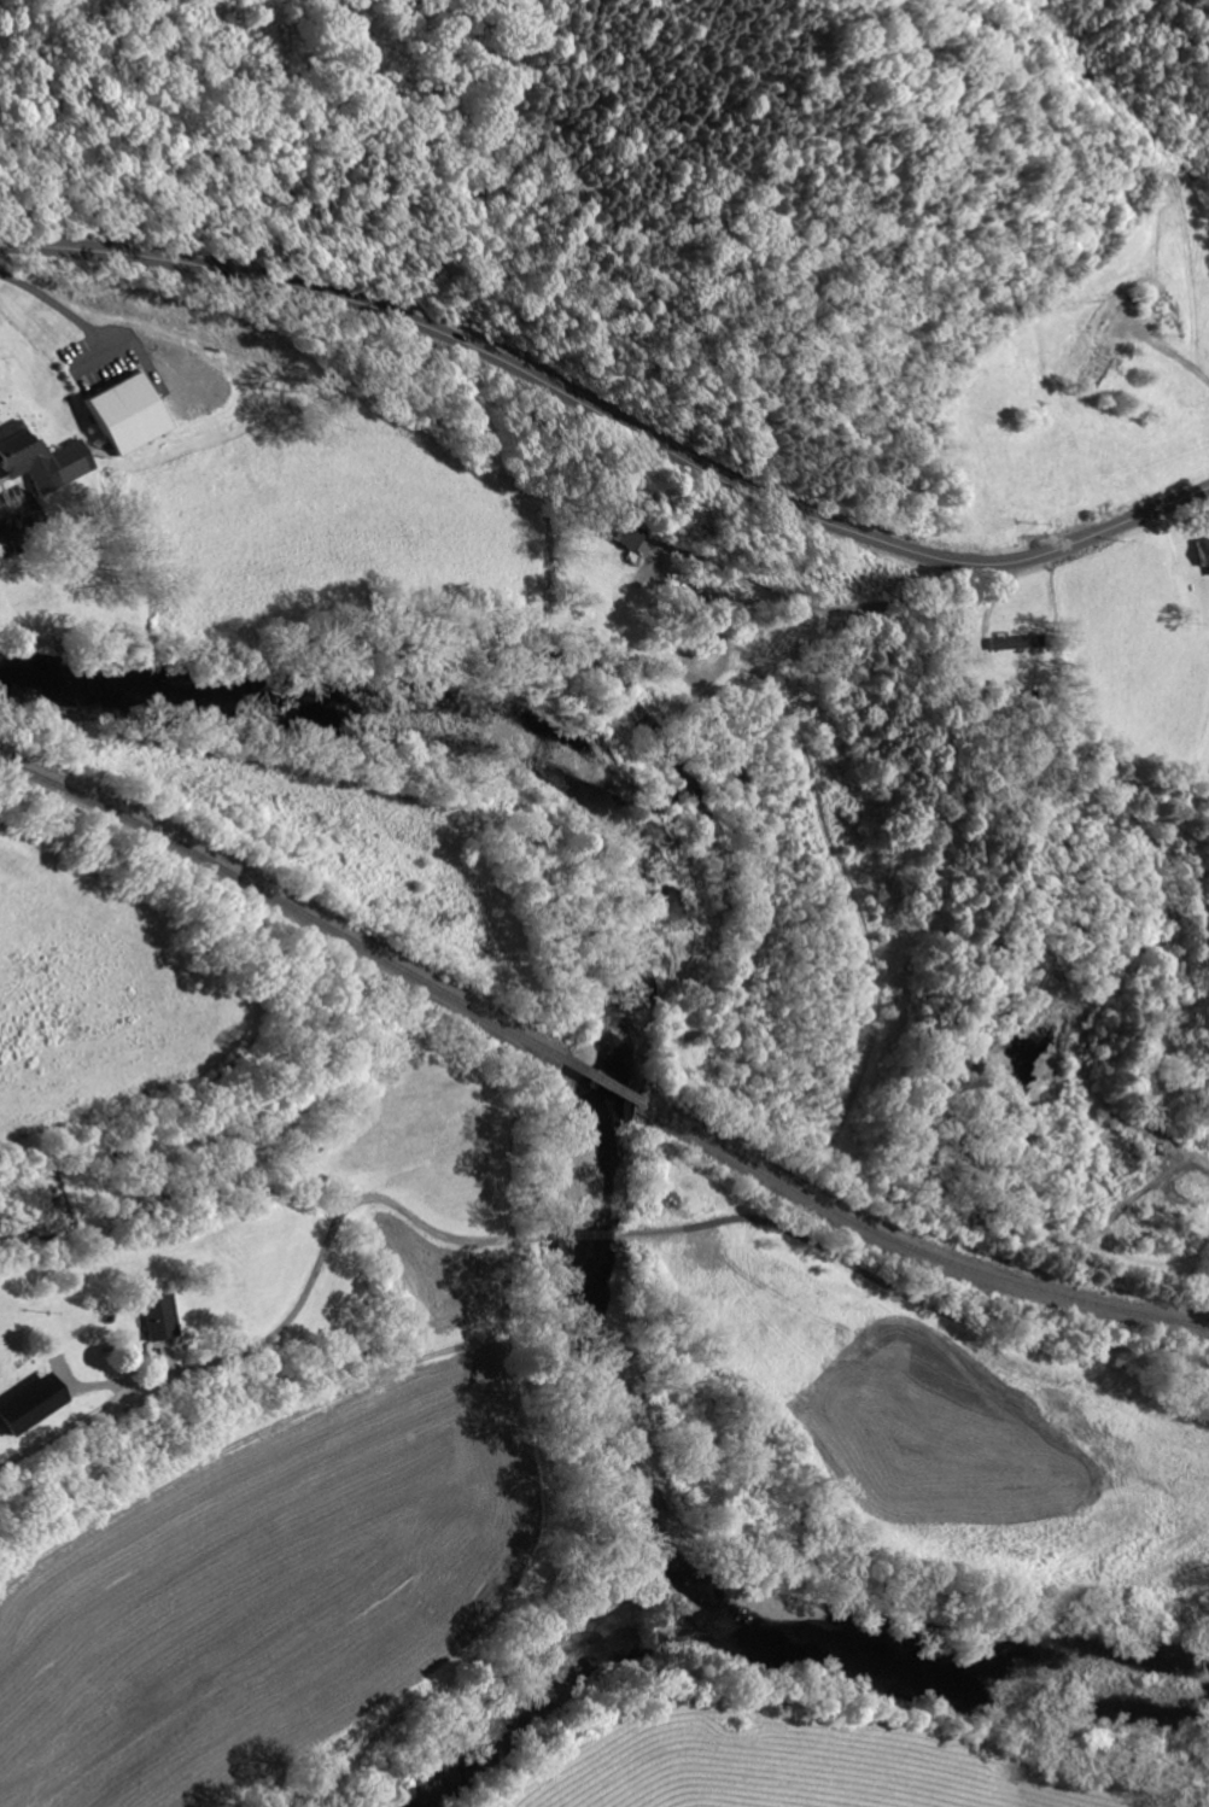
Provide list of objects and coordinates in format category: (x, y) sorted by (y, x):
road: (1172, 350)
park: (24, 374)
road: (612, 408)
building: (133, 413)
building: (43, 456)
building: (1203, 550)
road: (824, 613)
building: (1016, 641)
railway: (30, 773)
railway: (309, 919)
railway: (600, 1078)
railway: (911, 1246)
road: (864, 1261)
building: (159, 1315)
road: (269, 1326)
building: (33, 1402)
road: (275, 1421)

